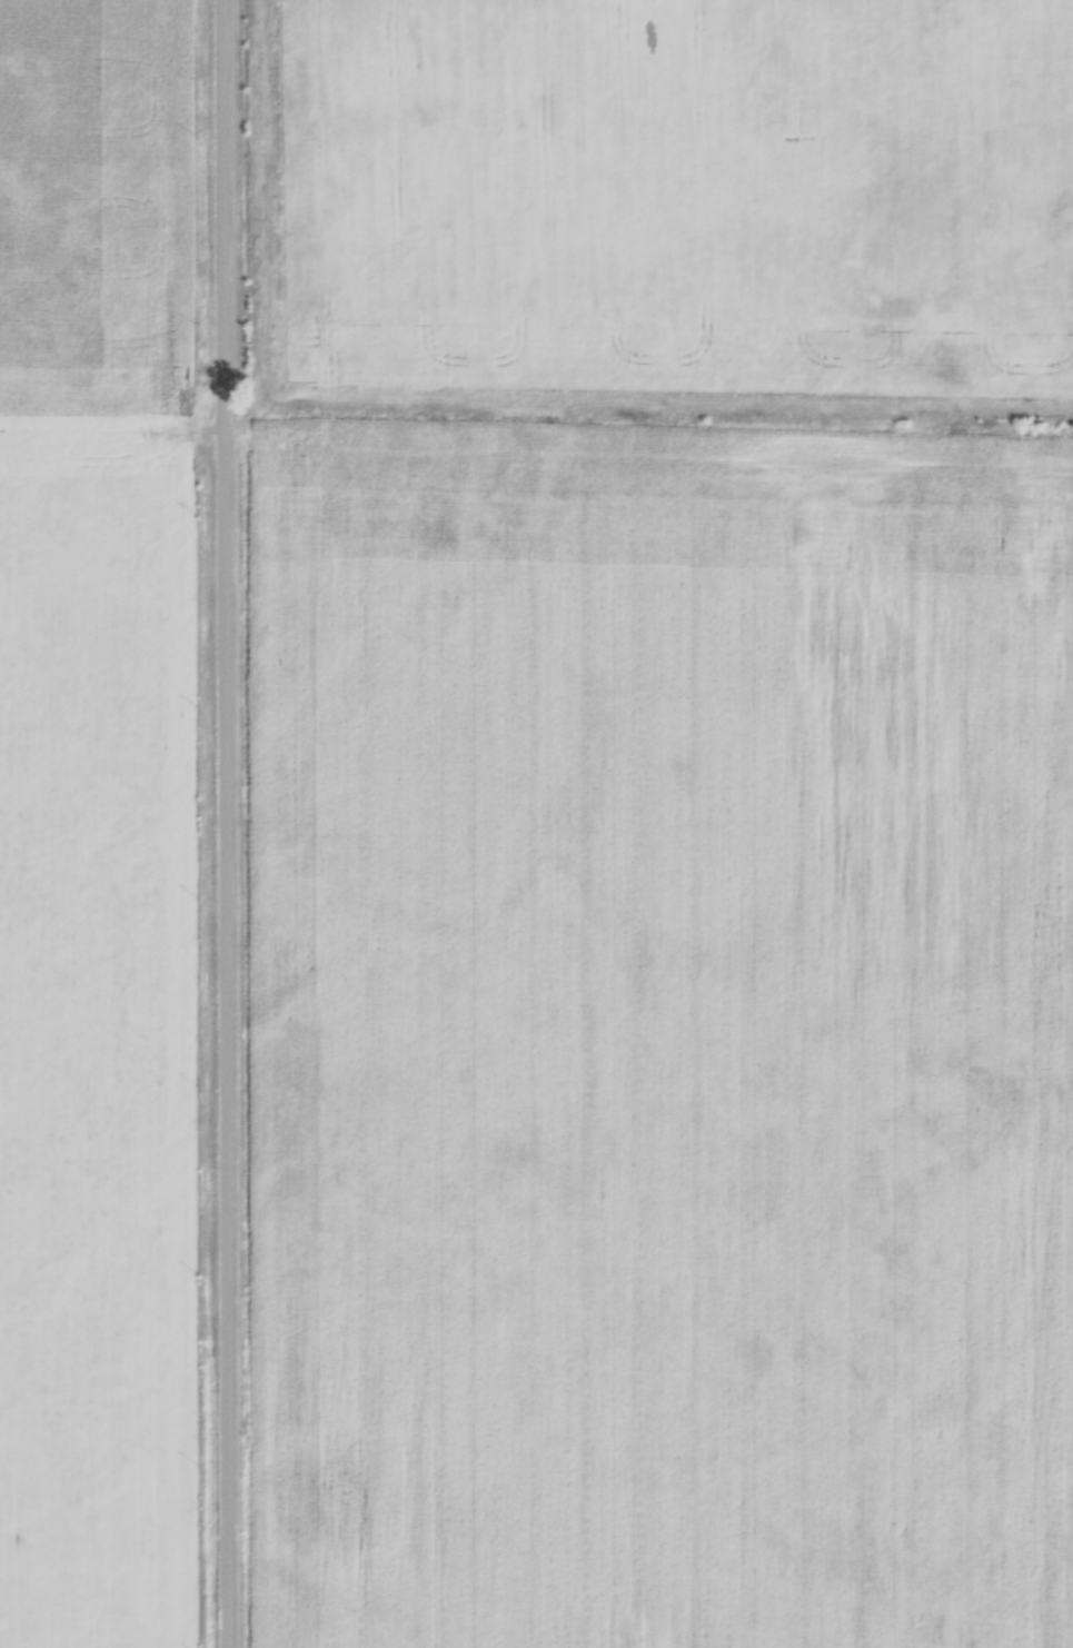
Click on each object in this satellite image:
road: (222, 823)

